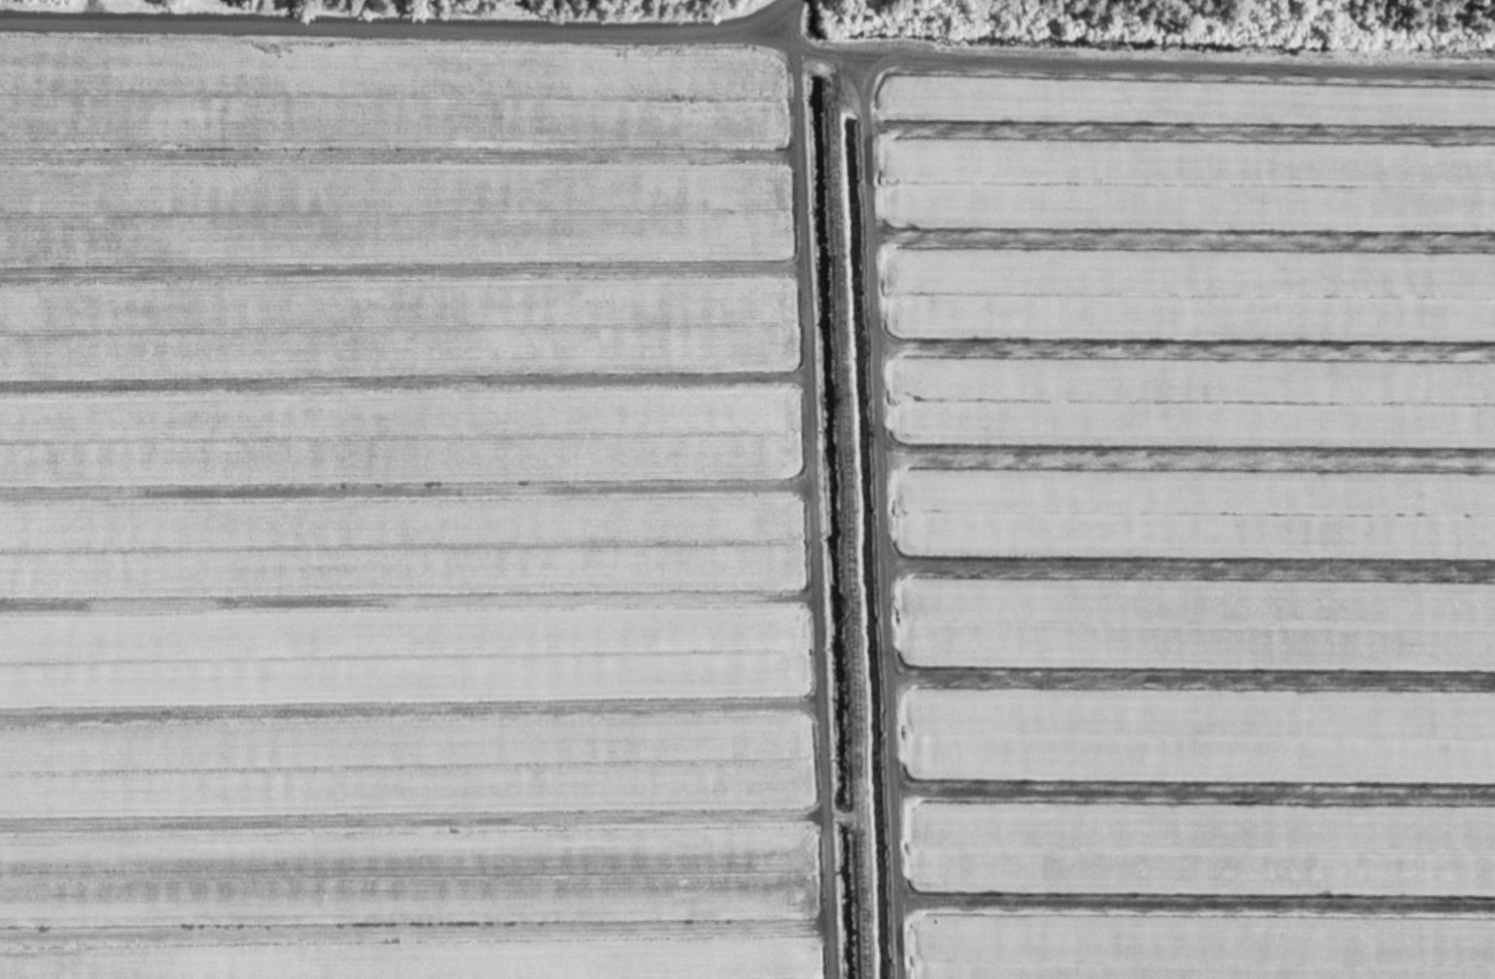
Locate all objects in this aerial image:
road: (784, 14)
road: (750, 29)
crop: (739, 497)
road: (807, 503)
road: (875, 518)

